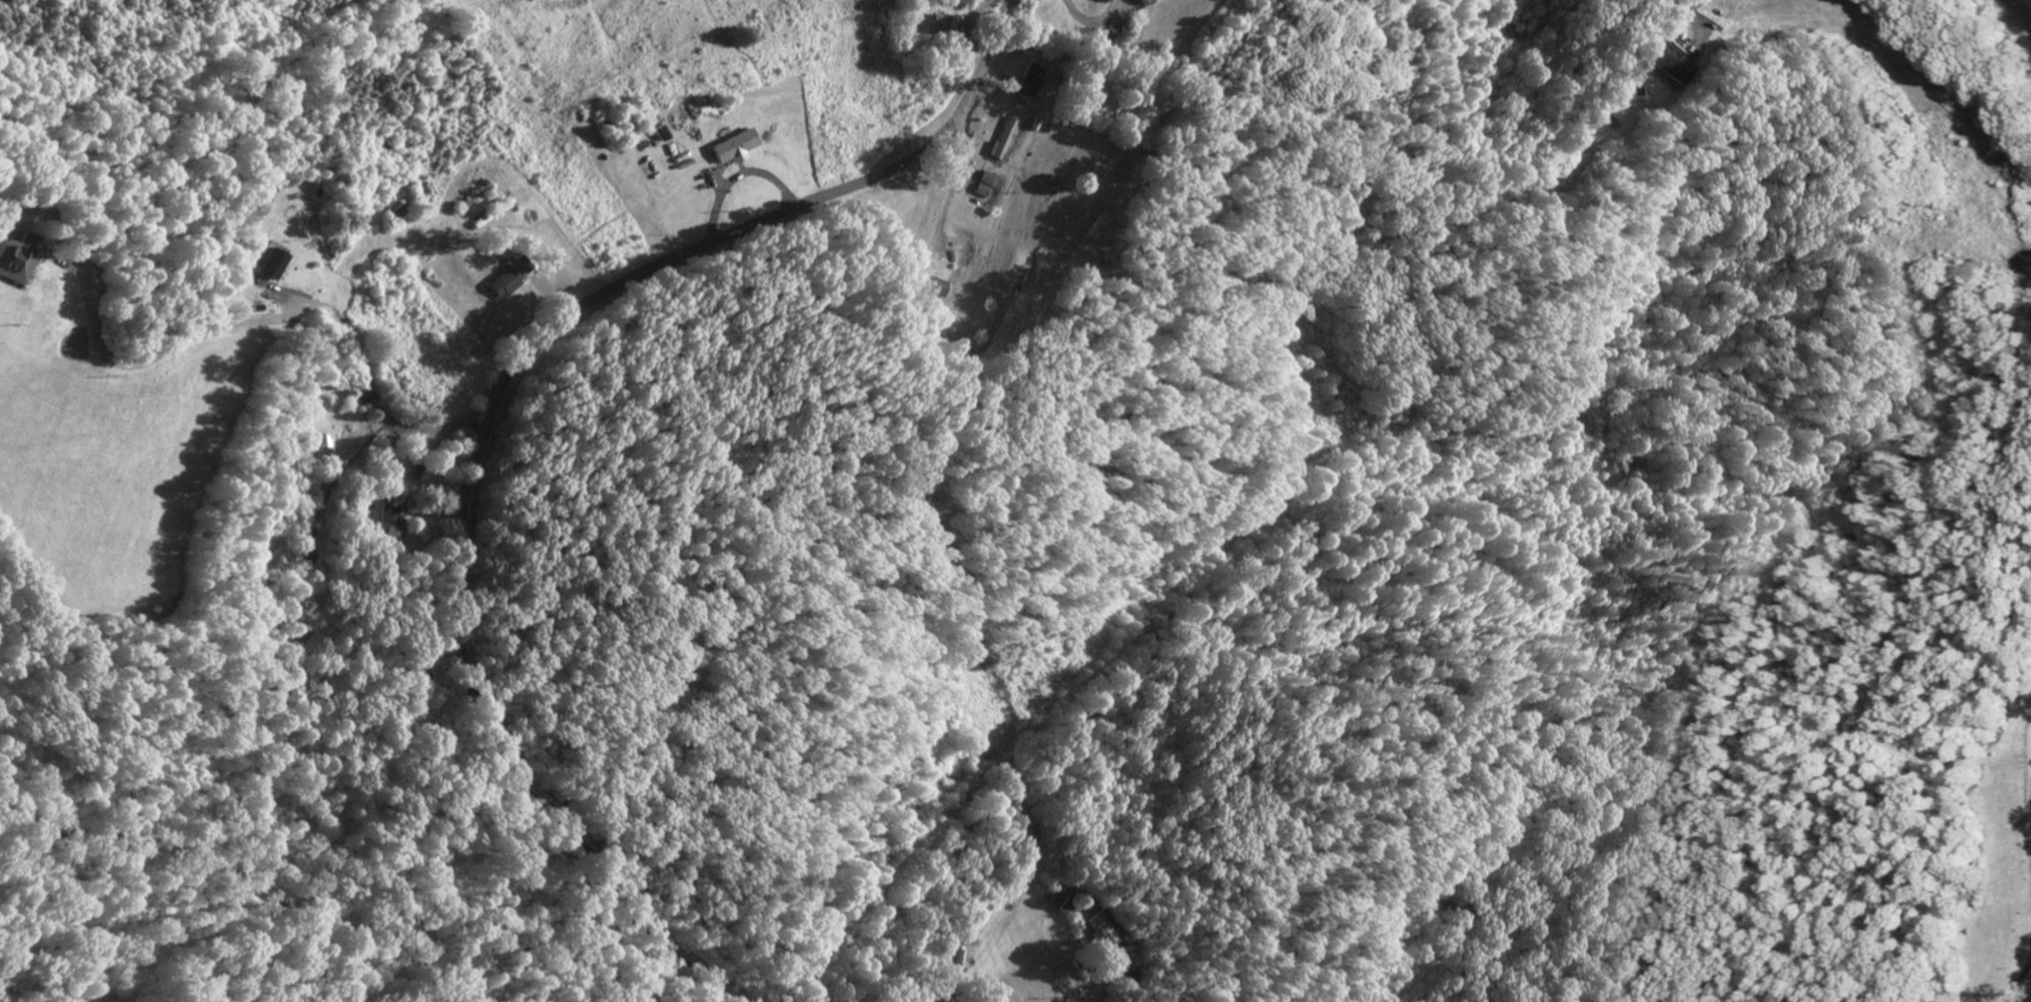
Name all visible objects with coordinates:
road: (1698, 6)
building: (950, 29)
building: (1673, 65)
building: (1038, 83)
building: (737, 150)
building: (19, 261)
building: (277, 267)
building: (515, 282)
road: (150, 361)
road: (383, 407)
road: (498, 409)
road: (482, 426)
building: (326, 448)
building: (397, 521)
building: (1111, 933)
road: (1089, 989)

